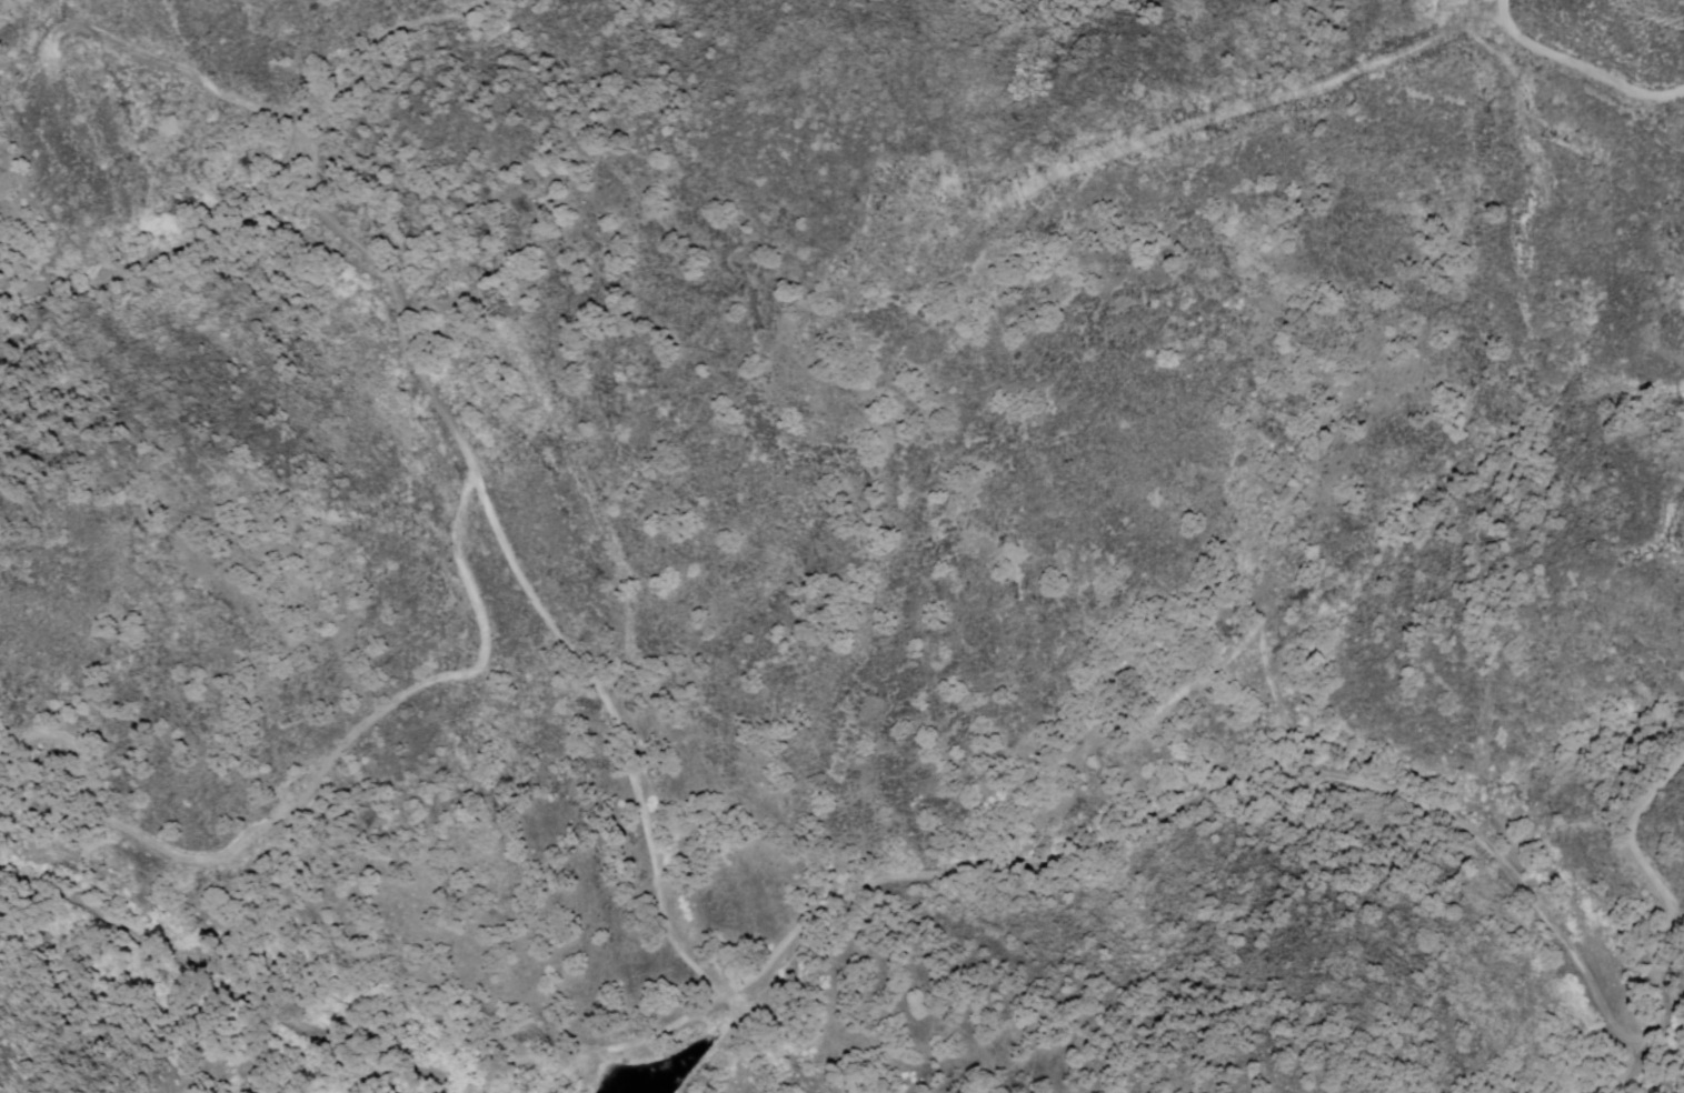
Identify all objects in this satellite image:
road: (1575, 61)

